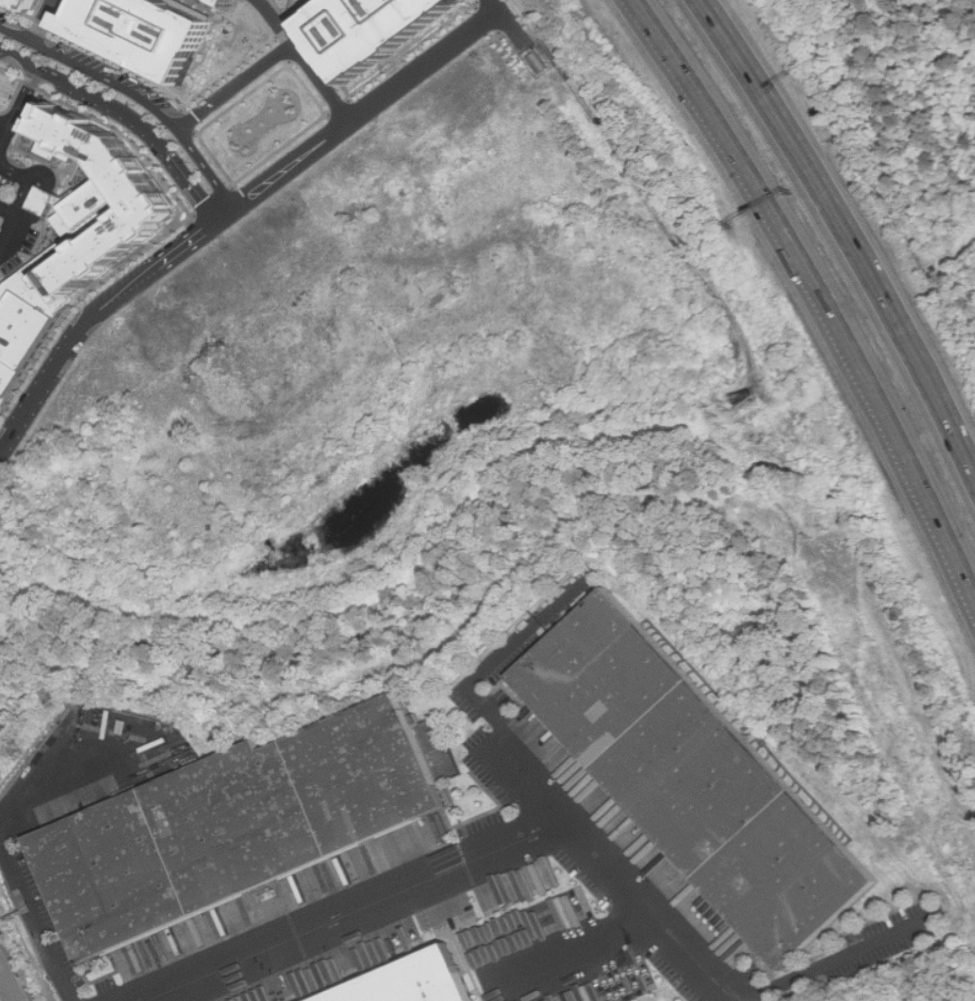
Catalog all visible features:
building: (240, 3)
parking lot: (240, 3)
building: (28, 4)
road: (705, 10)
road: (707, 10)
road: (291, 11)
road: (283, 15)
road: (41, 20)
road: (507, 21)
road: (277, 22)
building: (383, 30)
building: (145, 31)
road: (275, 57)
road: (287, 58)
building: (539, 62)
street lamp: (58, 65)
road: (379, 74)
road: (137, 94)
road: (85, 96)
street lamp: (134, 104)
road: (340, 108)
road: (18, 113)
road: (9, 117)
road: (188, 124)
street lamp: (187, 158)
road: (44, 171)
road: (240, 180)
road: (191, 186)
road: (22, 196)
road: (42, 200)
road: (215, 201)
road: (650, 202)
road: (7, 209)
road: (227, 213)
road: (21, 219)
building: (76, 237)
road: (852, 239)
road: (816, 294)
building: (701, 777)
building: (240, 824)
road: (1, 828)
road: (627, 862)
road: (364, 907)
building: (415, 980)
road: (8, 981)

